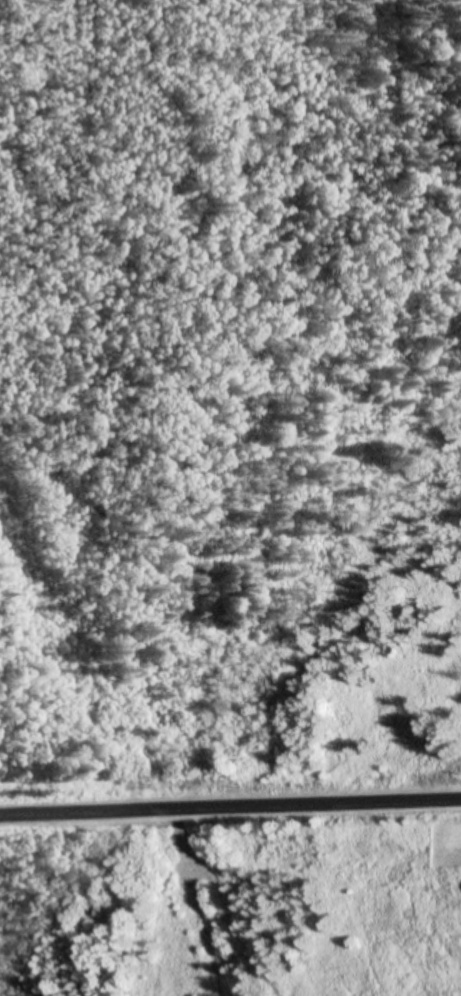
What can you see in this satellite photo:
road: (230, 806)

